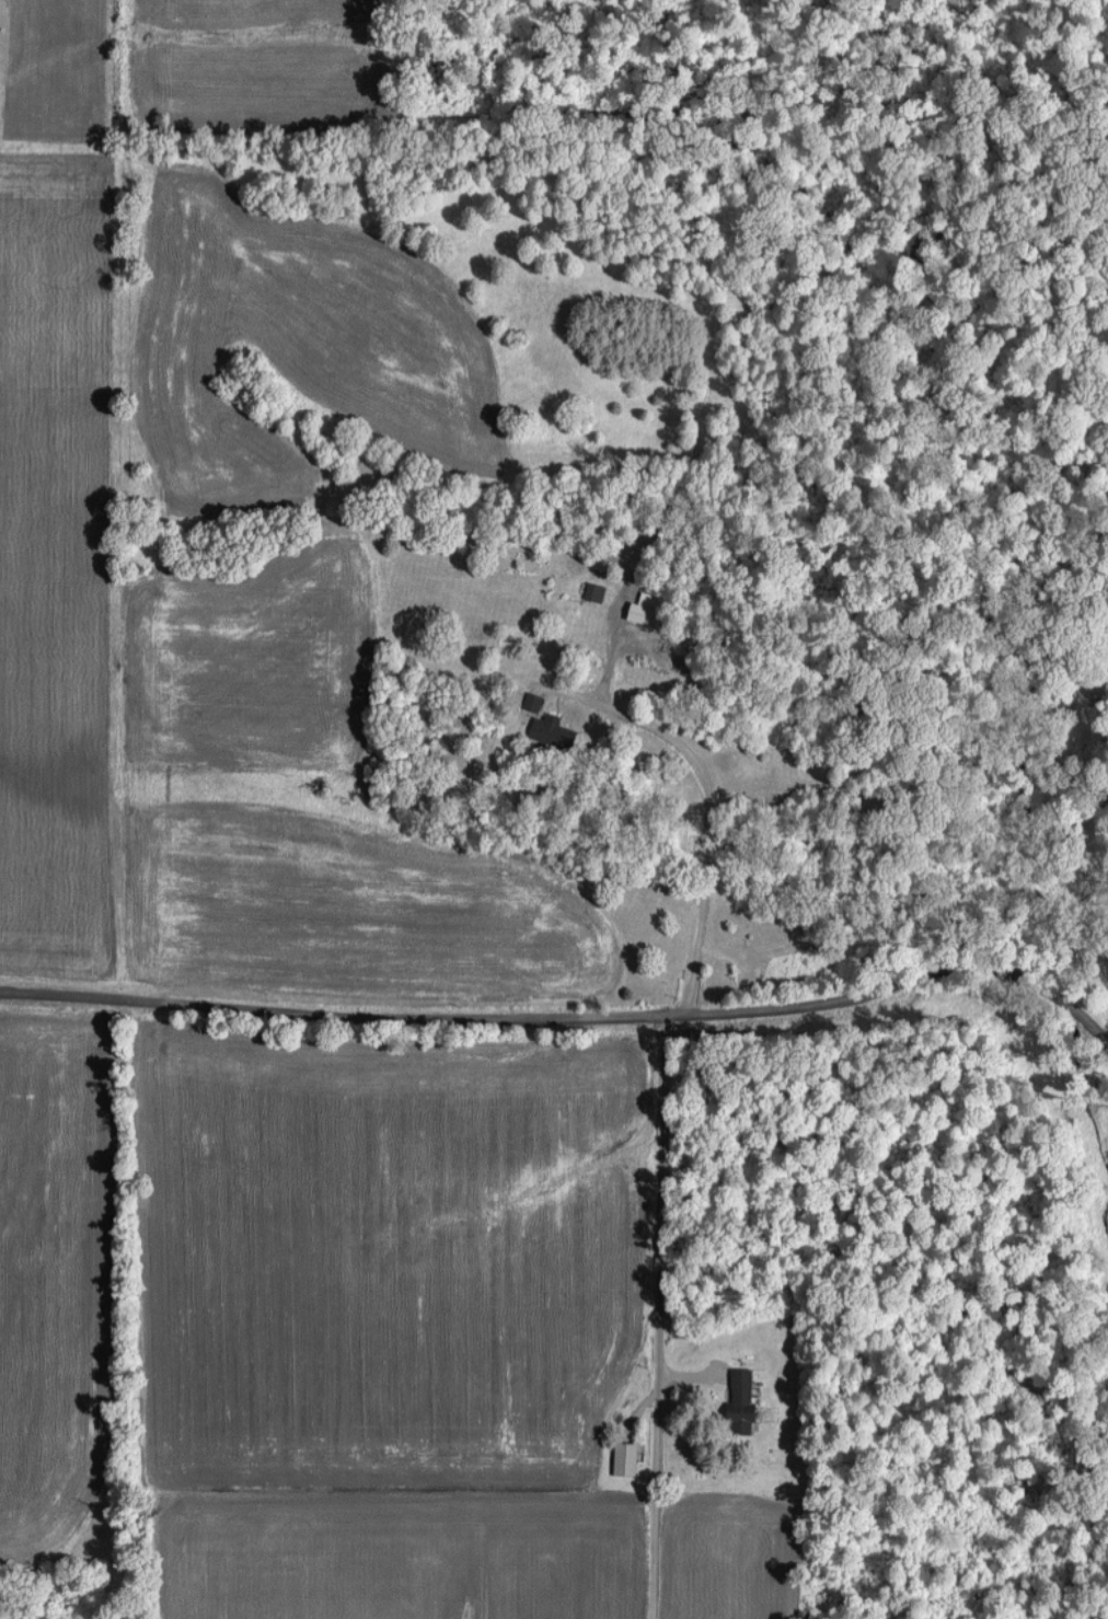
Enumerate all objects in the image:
building: (596, 591)
building: (648, 609)
building: (533, 701)
building: (554, 730)
road: (705, 823)
road: (558, 1017)
road: (660, 1318)
building: (742, 1401)
building: (626, 1457)

